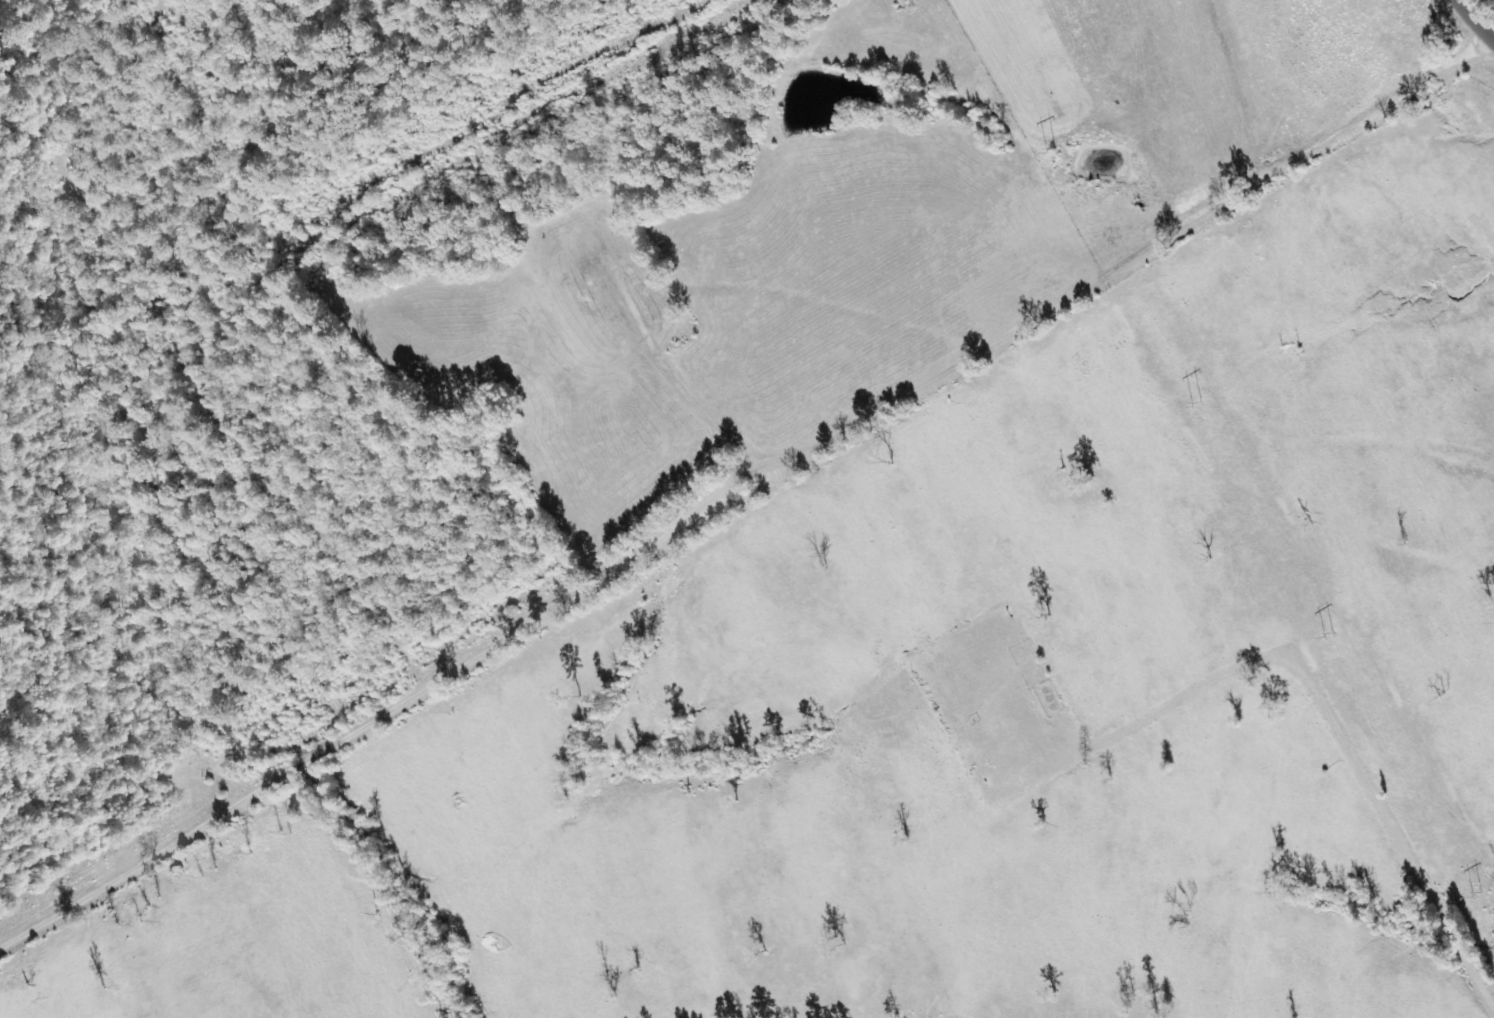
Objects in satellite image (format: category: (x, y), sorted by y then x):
road: (1453, 38)
power tower: (1052, 150)
power tower: (1195, 403)
power tower: (1330, 634)
power tower: (1479, 895)

